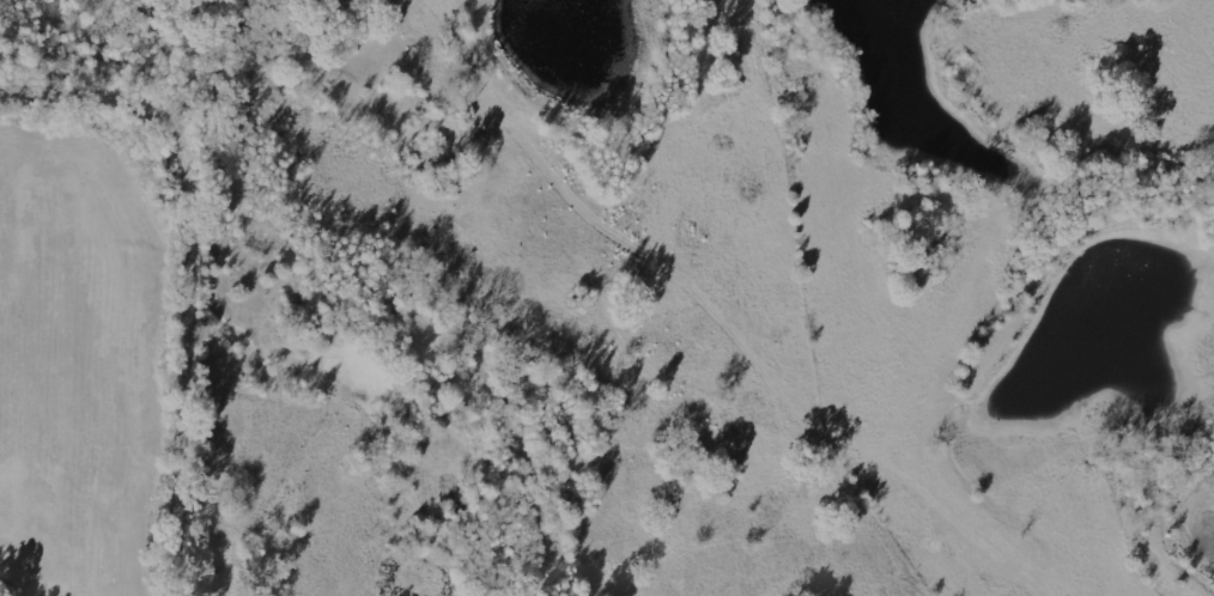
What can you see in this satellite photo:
road: (199, 269)

